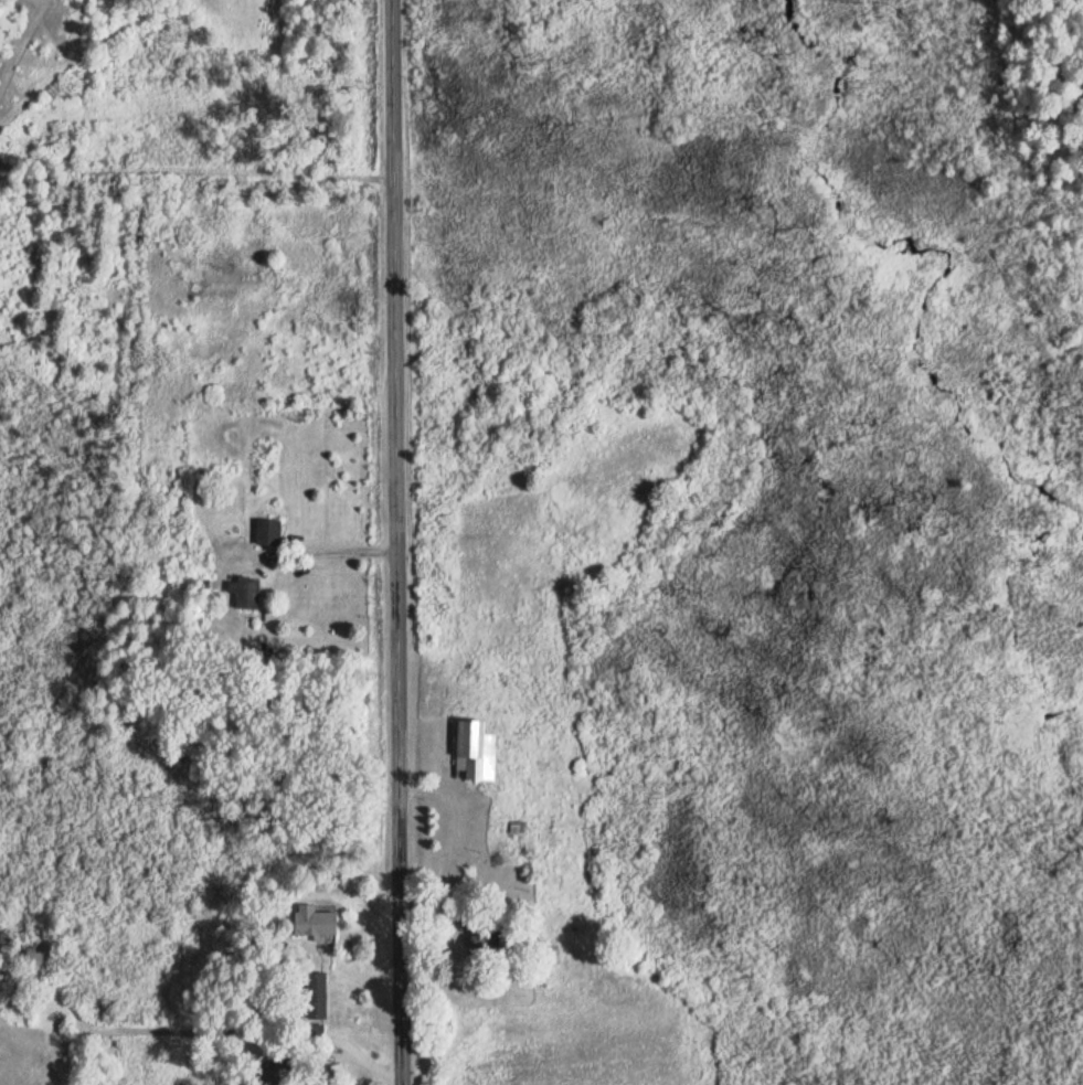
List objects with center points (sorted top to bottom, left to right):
building: (9, 21)
building: (269, 532)
road: (399, 542)
building: (249, 595)
building: (478, 749)
building: (318, 922)

